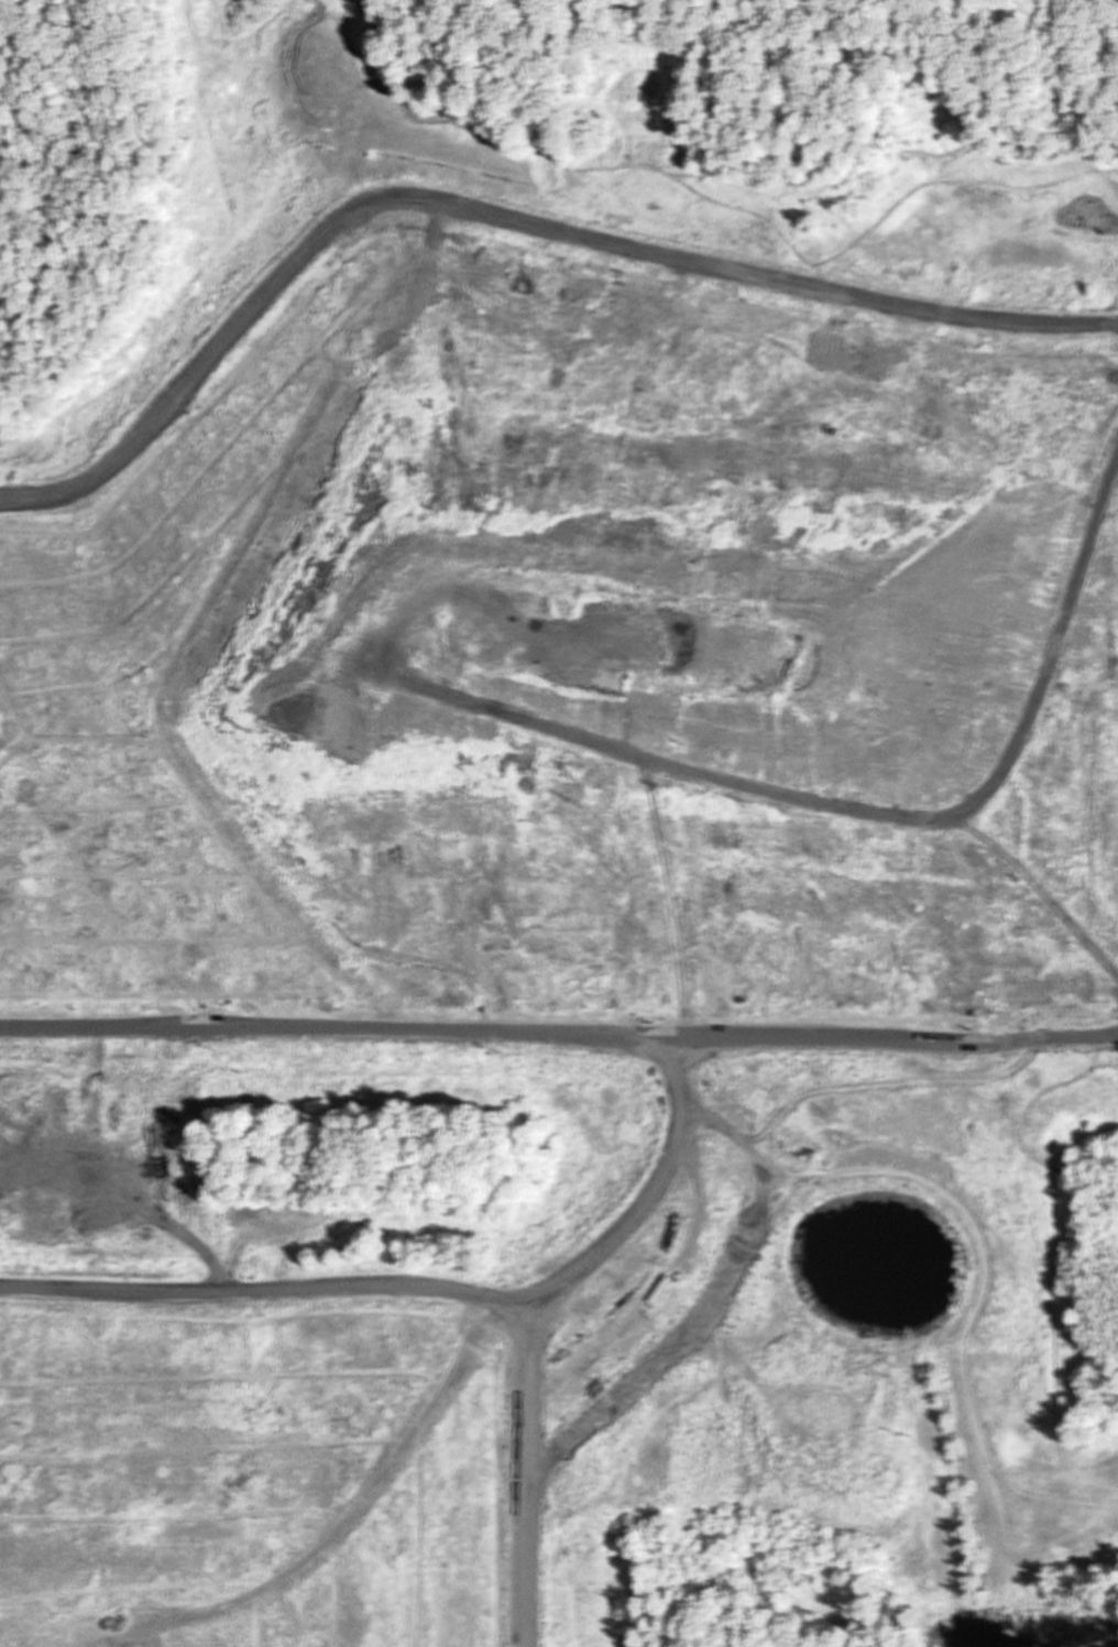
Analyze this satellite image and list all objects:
road: (797, 48)
road: (502, 216)
landfill: (574, 843)
road: (559, 1032)
road: (429, 1285)
road: (717, 1311)
road: (533, 1466)

